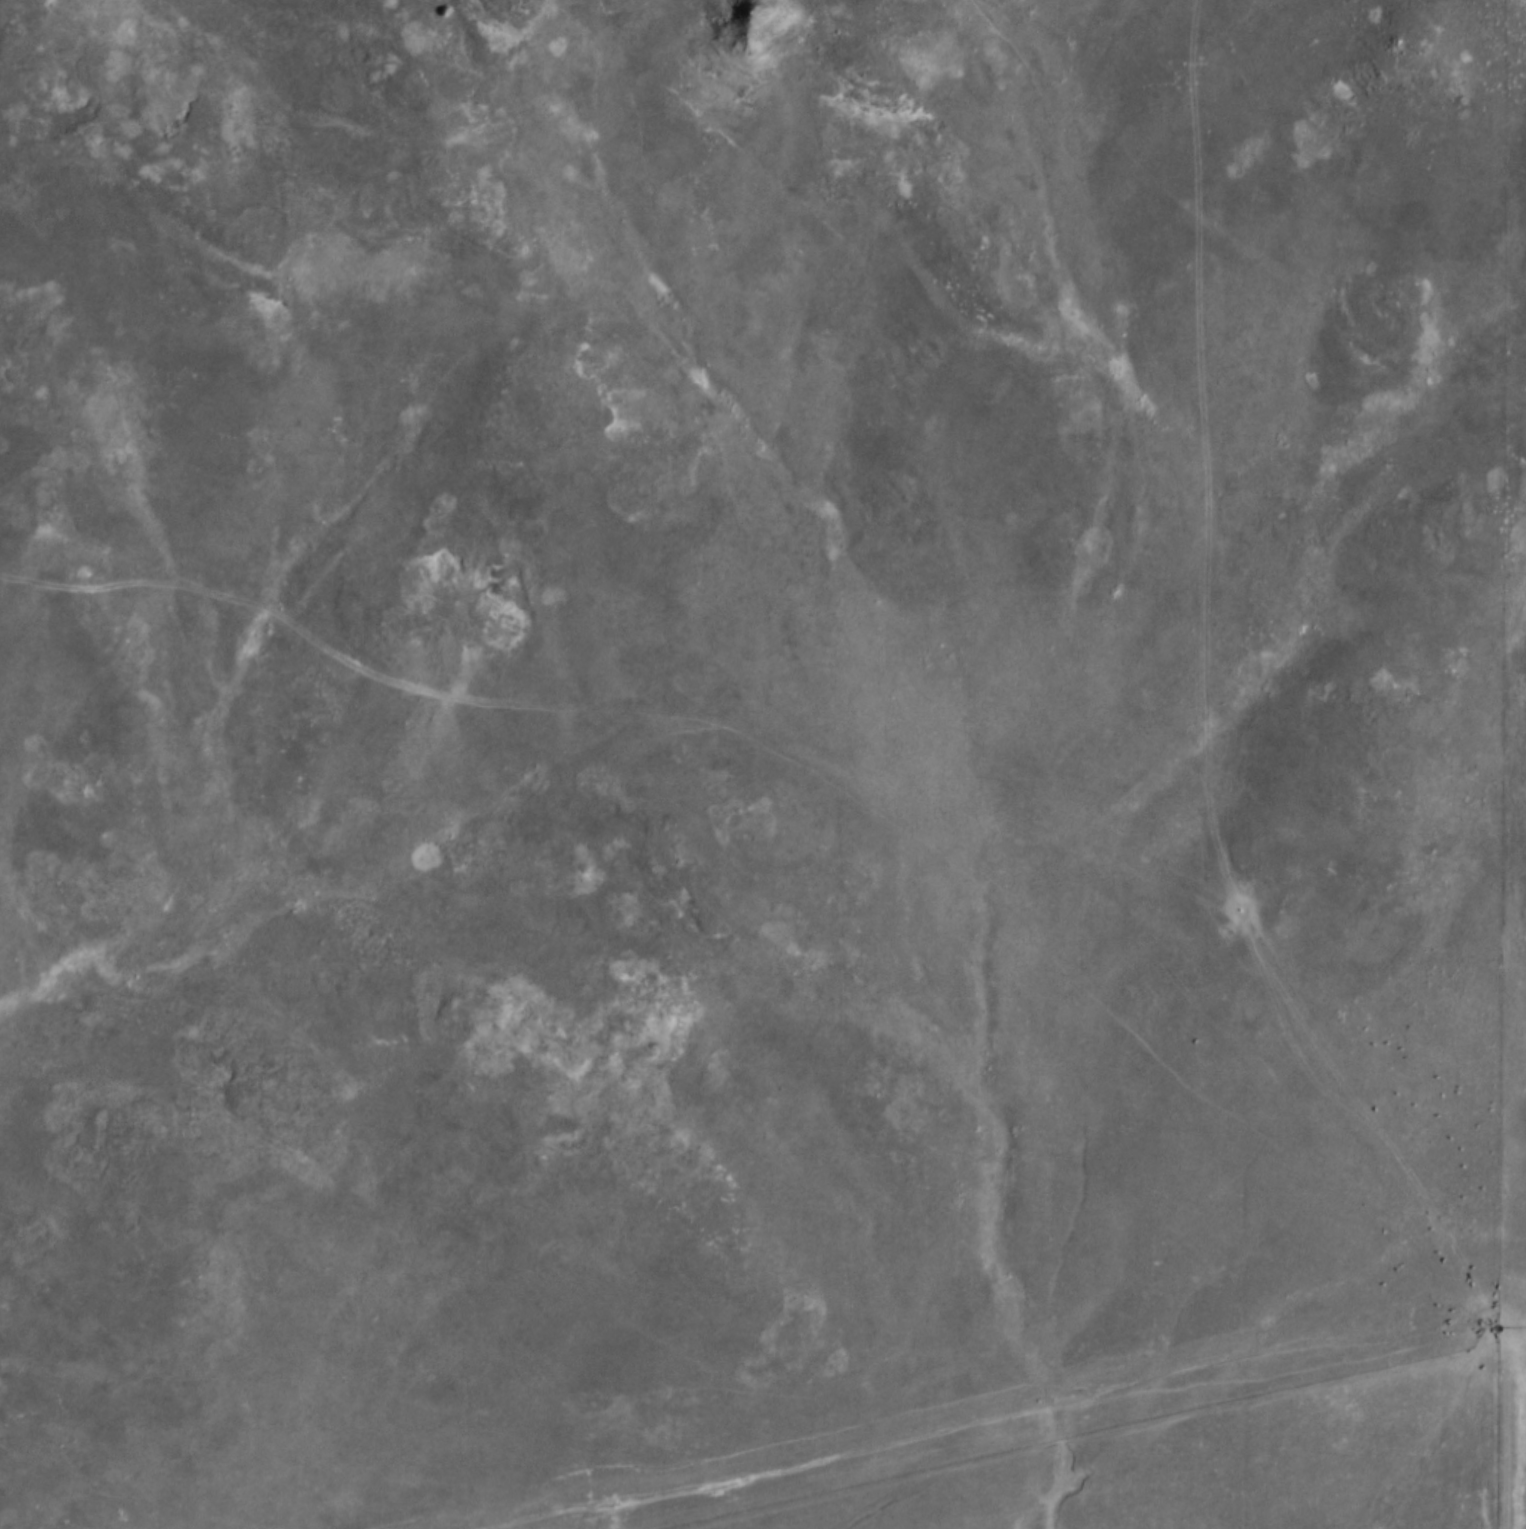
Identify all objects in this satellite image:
road: (1512, 1336)

